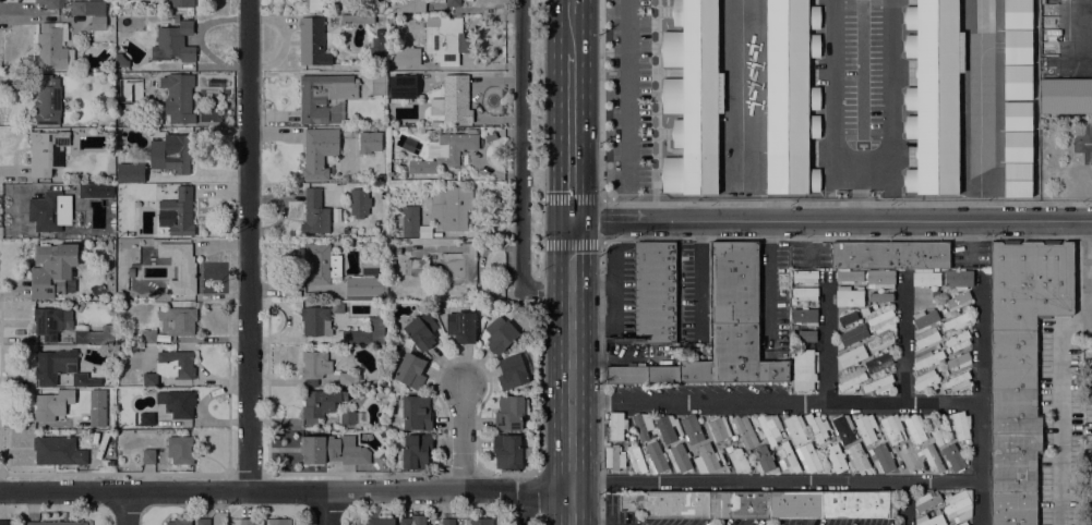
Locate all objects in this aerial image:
building: (48, 3)
building: (453, 3)
building: (182, 4)
building: (312, 5)
building: (407, 5)
building: (77, 8)
airport hangar: (1017, 14)
building: (1017, 14)
building: (81, 19)
building: (357, 19)
building: (98, 23)
road: (569, 26)
building: (380, 33)
building: (446, 40)
building: (173, 41)
building: (312, 41)
building: (52, 45)
airport hangar: (1017, 46)
building: (1017, 46)
building: (376, 49)
building: (405, 57)
building: (120, 60)
building: (120, 77)
parking lot: (860, 77)
airport hangar: (1017, 82)
building: (1017, 82)
building: (379, 83)
building: (403, 86)
road: (836, 89)
road: (885, 91)
airport hangar: (785, 95)
building: (785, 95)
building: (1065, 95)
airport hangar: (691, 96)
building: (691, 96)
airport hangar: (937, 96)
building: (937, 96)
building: (178, 97)
building: (325, 97)
parking lot: (640, 97)
airport: (819, 99)
building: (47, 100)
building: (453, 100)
airport hangar: (1017, 114)
building: (1017, 114)
road: (571, 137)
building: (369, 142)
road: (1087, 142)
airport hangar: (1017, 145)
building: (1017, 145)
building: (46, 151)
building: (319, 151)
building: (444, 151)
building: (171, 152)
road: (520, 167)
building: (130, 172)
building: (110, 176)
building: (382, 178)
airport hangar: (1017, 179)
building: (1017, 179)
road: (540, 188)
building: (86, 190)
road: (857, 192)
building: (359, 202)
road: (745, 204)
building: (451, 207)
building: (48, 210)
building: (177, 212)
building: (314, 212)
building: (406, 220)
road: (830, 220)
traffic signals: (571, 221)
road: (602, 221)
road: (531, 243)
road: (249, 245)
building: (396, 249)
building: (889, 261)
building: (320, 264)
building: (459, 266)
building: (179, 267)
building: (416, 267)
road: (1082, 267)
building: (52, 270)
building: (131, 271)
building: (804, 276)
building: (958, 279)
road: (770, 280)
building: (365, 289)
building: (653, 292)
building: (945, 292)
building: (803, 294)
building: (849, 296)
building: (879, 296)
road: (537, 298)
building: (958, 301)
road: (612, 302)
building: (337, 307)
building: (804, 316)
building: (848, 318)
building: (925, 318)
road: (1085, 319)
building: (177, 320)
building: (879, 320)
building: (50, 321)
building: (315, 321)
building: (956, 322)
building: (460, 327)
building: (720, 328)
building: (421, 331)
building: (365, 333)
building: (92, 334)
building: (806, 335)
building: (851, 335)
building: (147, 337)
building: (792, 337)
building: (926, 337)
building: (501, 338)
road: (827, 339)
road: (904, 340)
building: (957, 340)
building: (879, 342)
road: (571, 355)
building: (850, 356)
building: (927, 358)
building: (958, 361)
building: (879, 362)
building: (314, 366)
building: (58, 367)
building: (171, 367)
building: (1019, 367)
building: (802, 369)
building: (409, 370)
building: (513, 370)
building: (349, 379)
building: (850, 379)
building: (926, 380)
building: (956, 381)
building: (878, 384)
road: (539, 389)
road: (980, 401)
building: (177, 403)
road: (775, 403)
building: (319, 404)
building: (51, 405)
building: (96, 407)
road: (1058, 412)
building: (416, 413)
building: (509, 413)
building: (347, 416)
building: (146, 418)
building: (615, 425)
building: (641, 425)
building: (960, 425)
building: (665, 428)
building: (718, 428)
building: (770, 428)
building: (794, 428)
building: (817, 428)
building: (843, 428)
building: (865, 428)
building: (891, 428)
building: (914, 428)
building: (692, 429)
building: (935, 429)
building: (743, 430)
road: (460, 439)
building: (332, 449)
building: (180, 450)
building: (506, 450)
building: (58, 451)
building: (415, 451)
building: (148, 456)
building: (708, 456)
building: (856, 456)
building: (614, 457)
building: (655, 457)
building: (679, 457)
building: (785, 457)
building: (807, 457)
building: (932, 457)
building: (952, 457)
building: (835, 459)
building: (883, 459)
building: (635, 460)
building: (737, 460)
building: (763, 460)
road: (531, 481)
road: (775, 481)
road: (285, 491)
building: (926, 501)
building: (761, 503)
road: (904, 503)
building: (958, 505)
road: (125, 508)
road: (327, 508)
road: (525, 508)
road: (571, 508)
building: (223, 514)
building: (380, 518)
building: (413, 520)
building: (929, 520)
building: (7, 522)
building: (179, 522)
building: (203, 522)
building: (251, 522)
building: (279, 522)
building: (448, 522)
building: (481, 522)
building: (56, 523)
building: (962, 523)
building: (953, 524)

